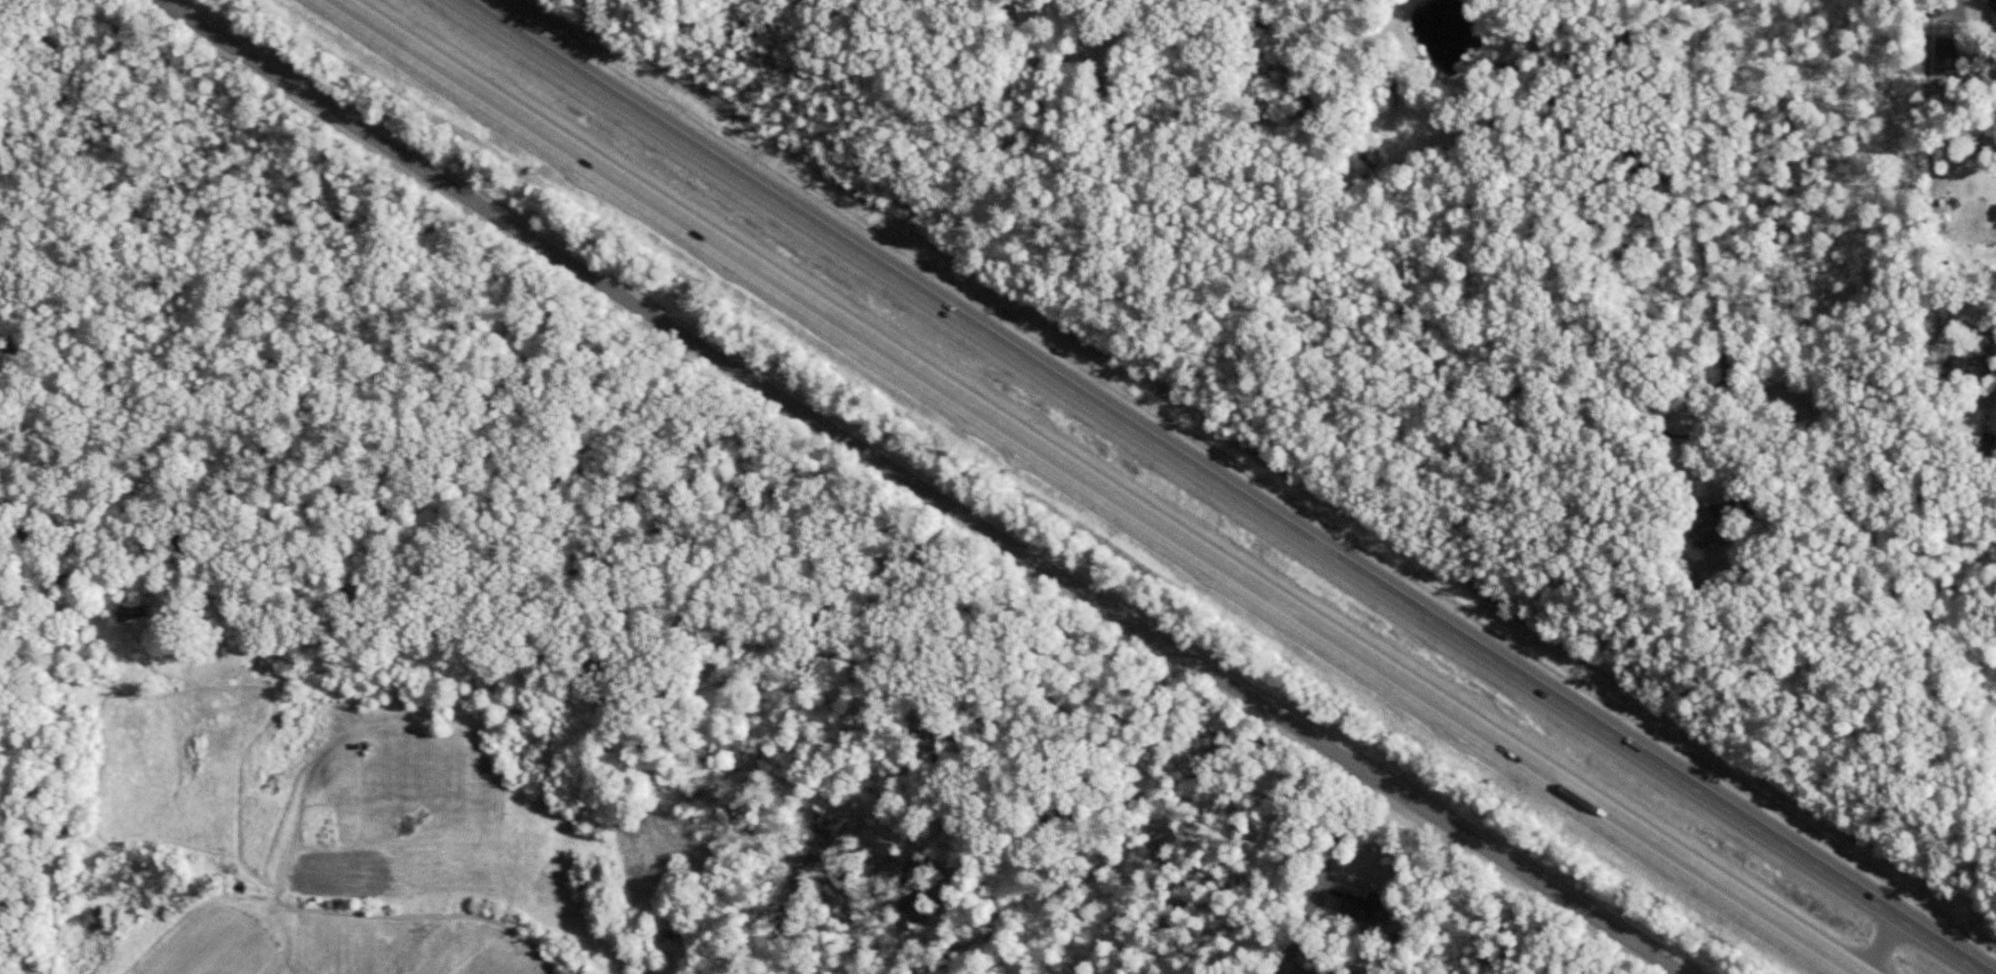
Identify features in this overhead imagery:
building: (1994, 15)
building: (1947, 53)
road: (1704, 243)
building: (1797, 404)
building: (1989, 439)
road: (924, 482)
road: (1100, 487)
road: (1223, 487)
building: (1723, 520)
building: (132, 607)
road: (1337, 825)
building: (1371, 907)
road: (1878, 945)

